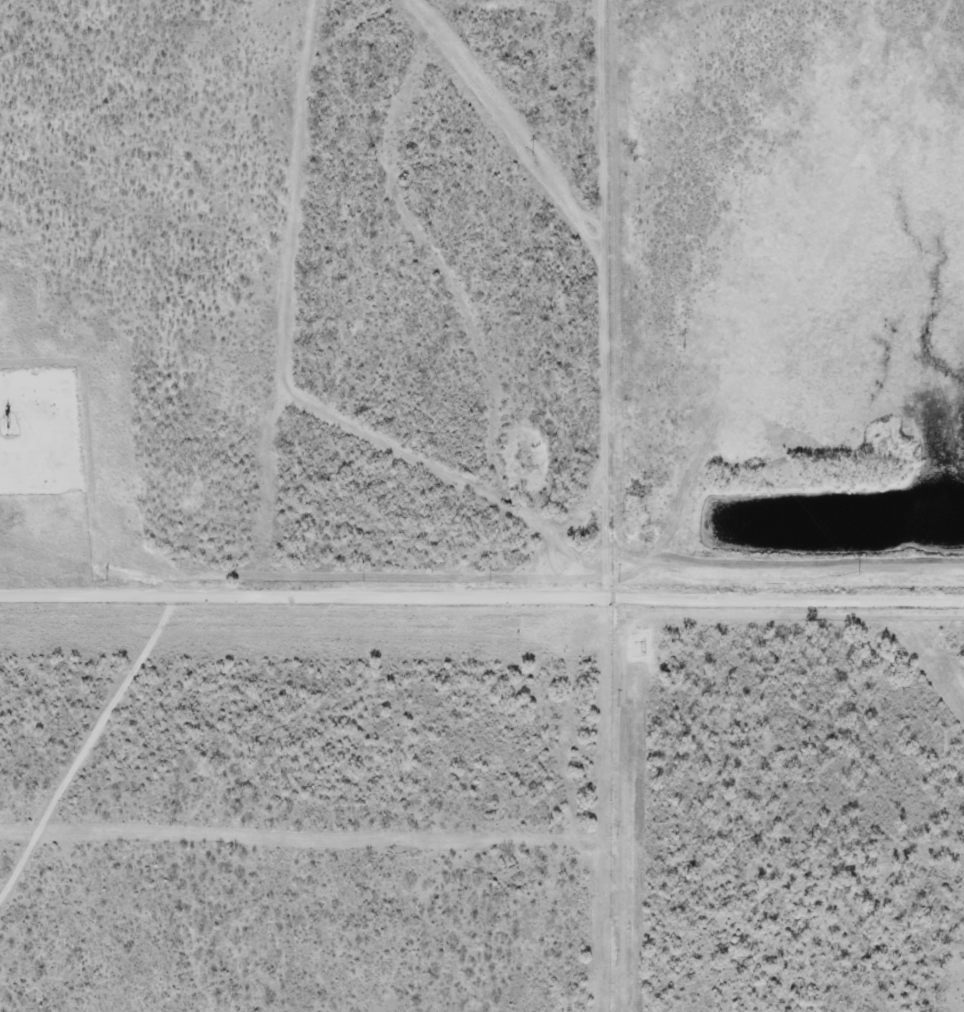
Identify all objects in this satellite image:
power tower: (531, 156)
power tower: (684, 349)
road: (48, 450)
power tower: (859, 574)
road: (301, 594)
road: (783, 600)

